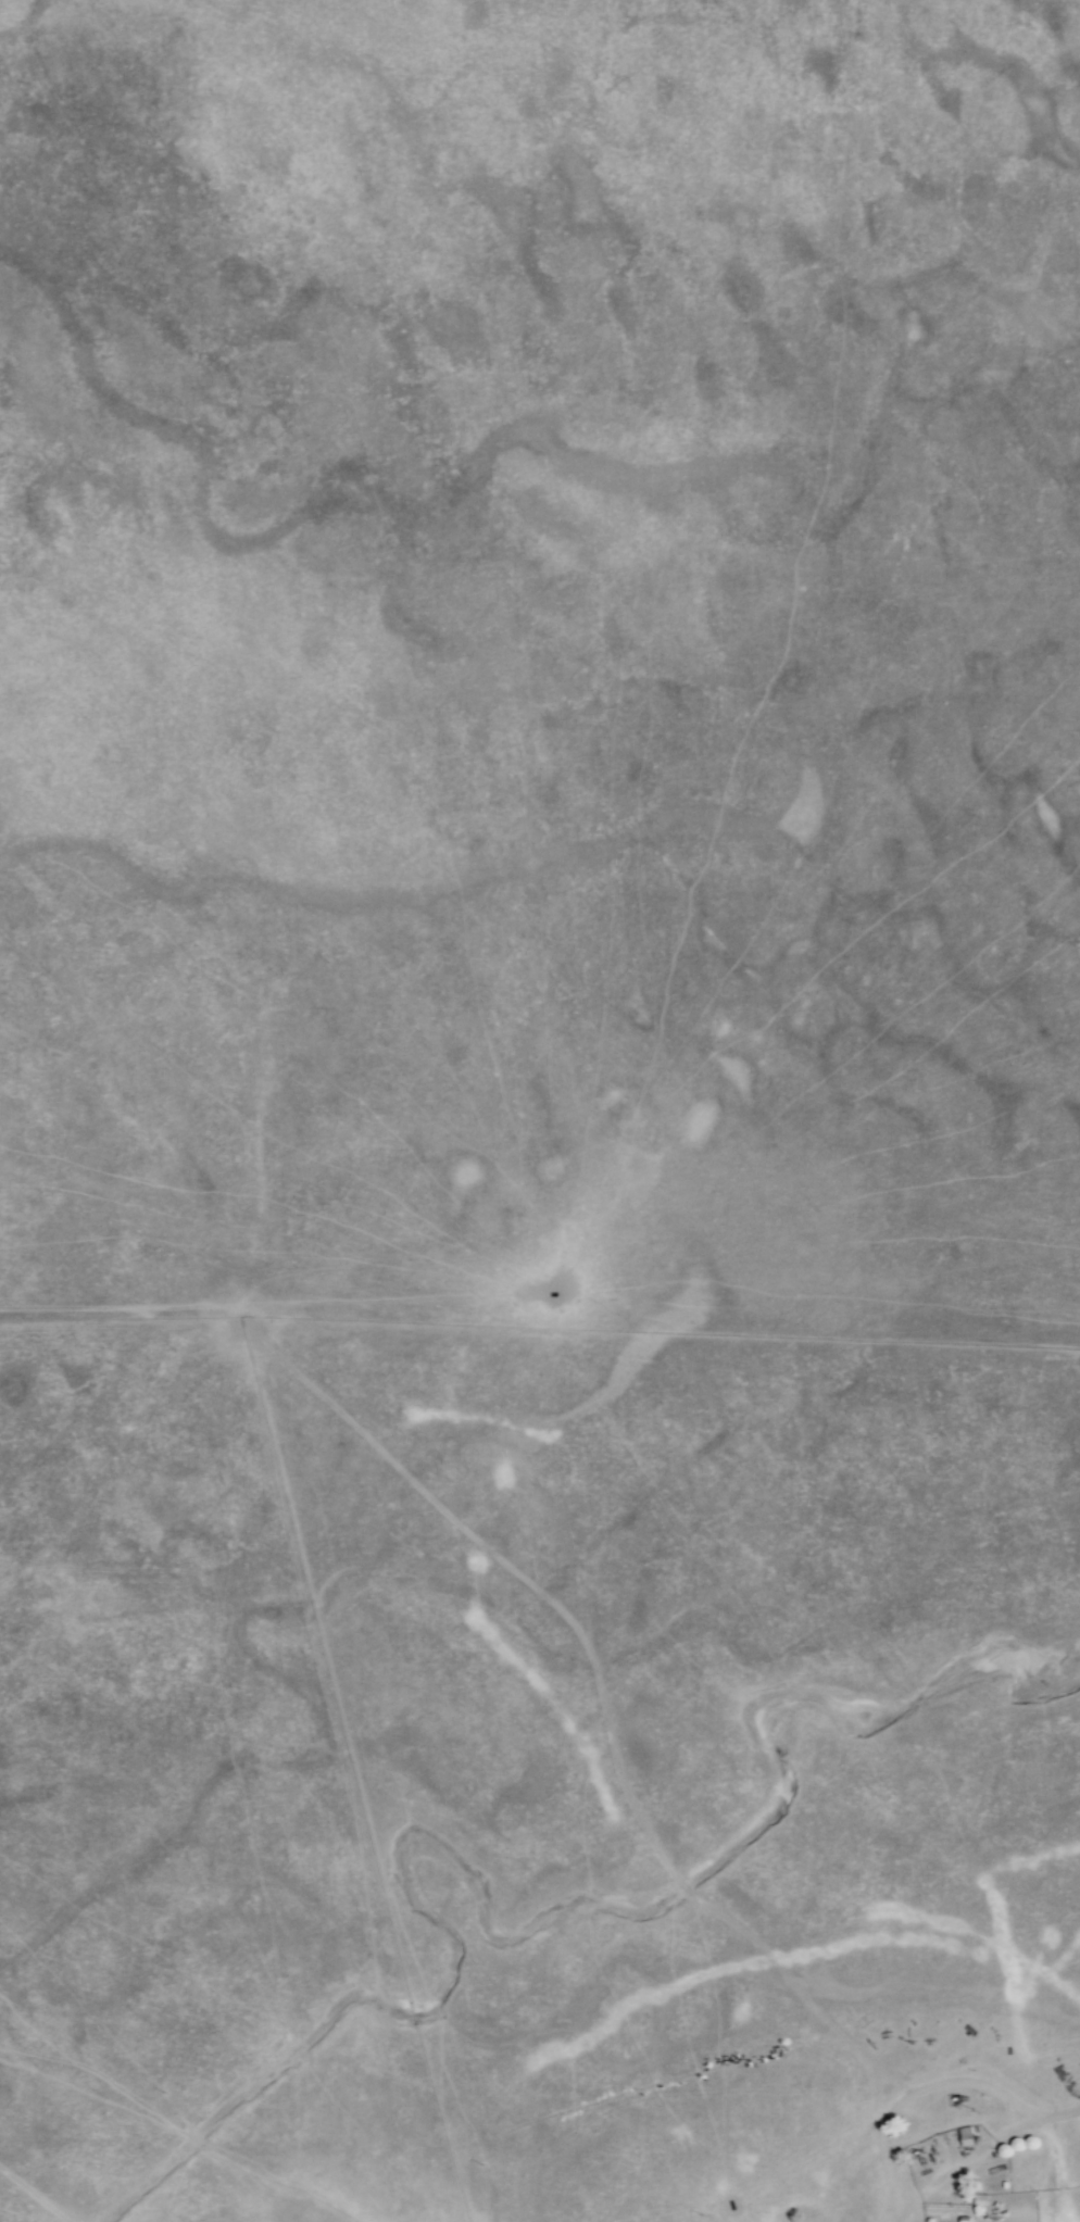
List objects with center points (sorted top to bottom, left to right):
road: (1008, 2179)

